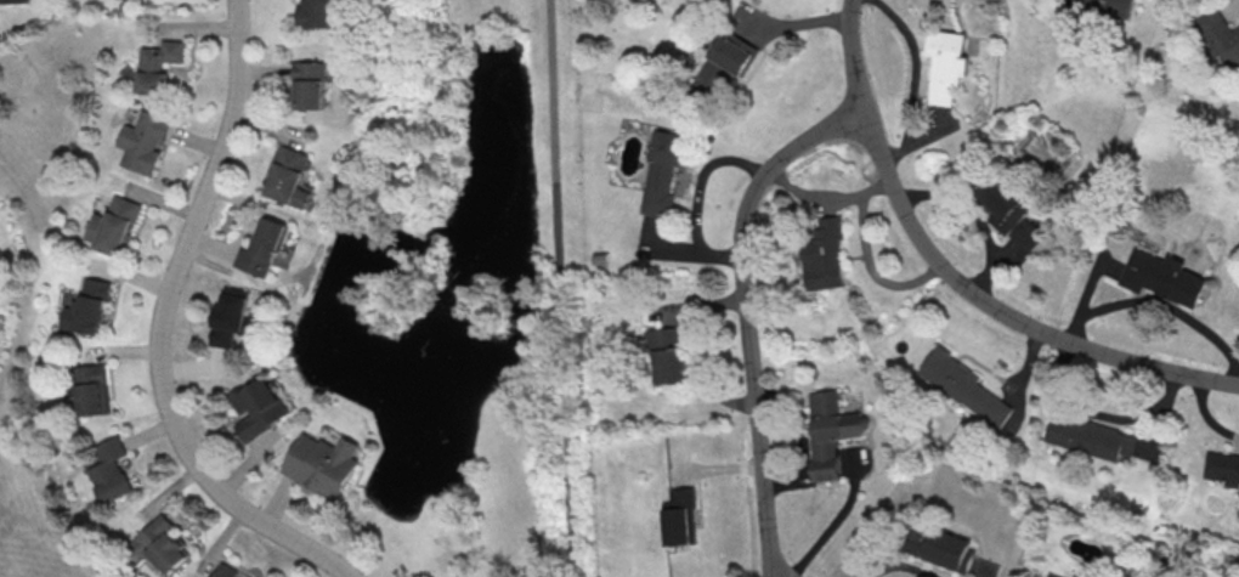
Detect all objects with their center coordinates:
building: (16, 1)
building: (1107, 6)
building: (317, 13)
building: (1220, 38)
road: (852, 56)
building: (725, 62)
building: (946, 63)
building: (159, 64)
building: (311, 84)
building: (146, 141)
building: (664, 174)
building: (290, 176)
road: (827, 199)
building: (1011, 213)
road: (972, 219)
building: (115, 226)
building: (265, 248)
building: (825, 255)
road: (870, 272)
building: (1159, 278)
road: (560, 288)
road: (1160, 304)
building: (89, 307)
road: (1001, 310)
road: (746, 315)
building: (230, 317)
road: (159, 324)
building: (668, 355)
building: (960, 386)
building: (92, 390)
building: (259, 407)
building: (830, 434)
building: (1090, 437)
building: (321, 465)
building: (1221, 468)
building: (111, 470)
building: (680, 517)
building: (165, 544)
building: (940, 545)
building: (226, 571)
building: (1050, 576)
building: (1052, 576)

